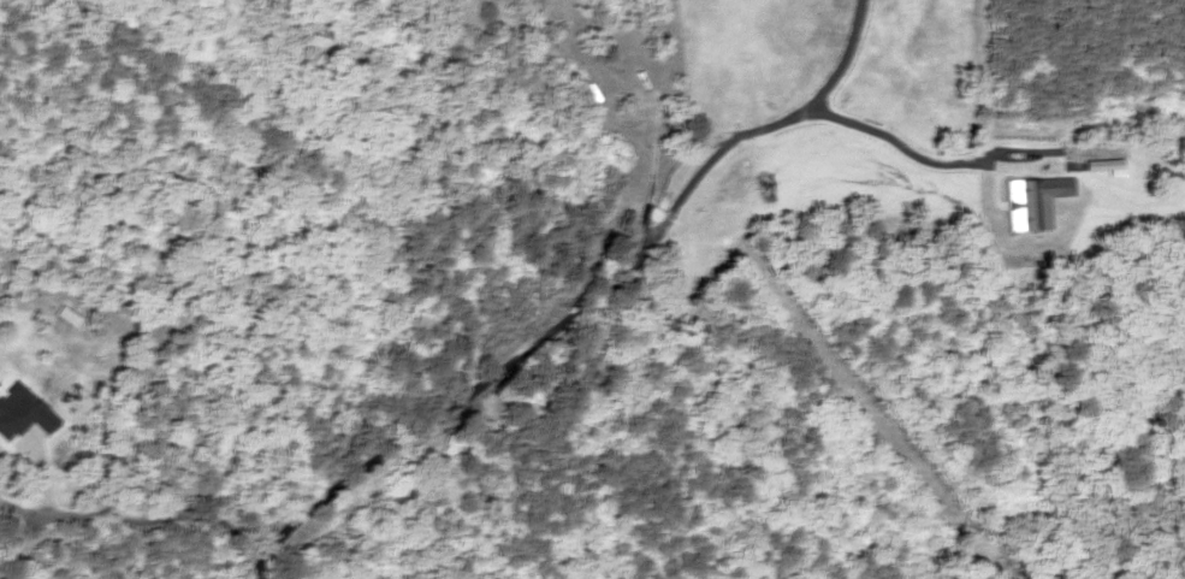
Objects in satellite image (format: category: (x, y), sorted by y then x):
road: (454, 403)

